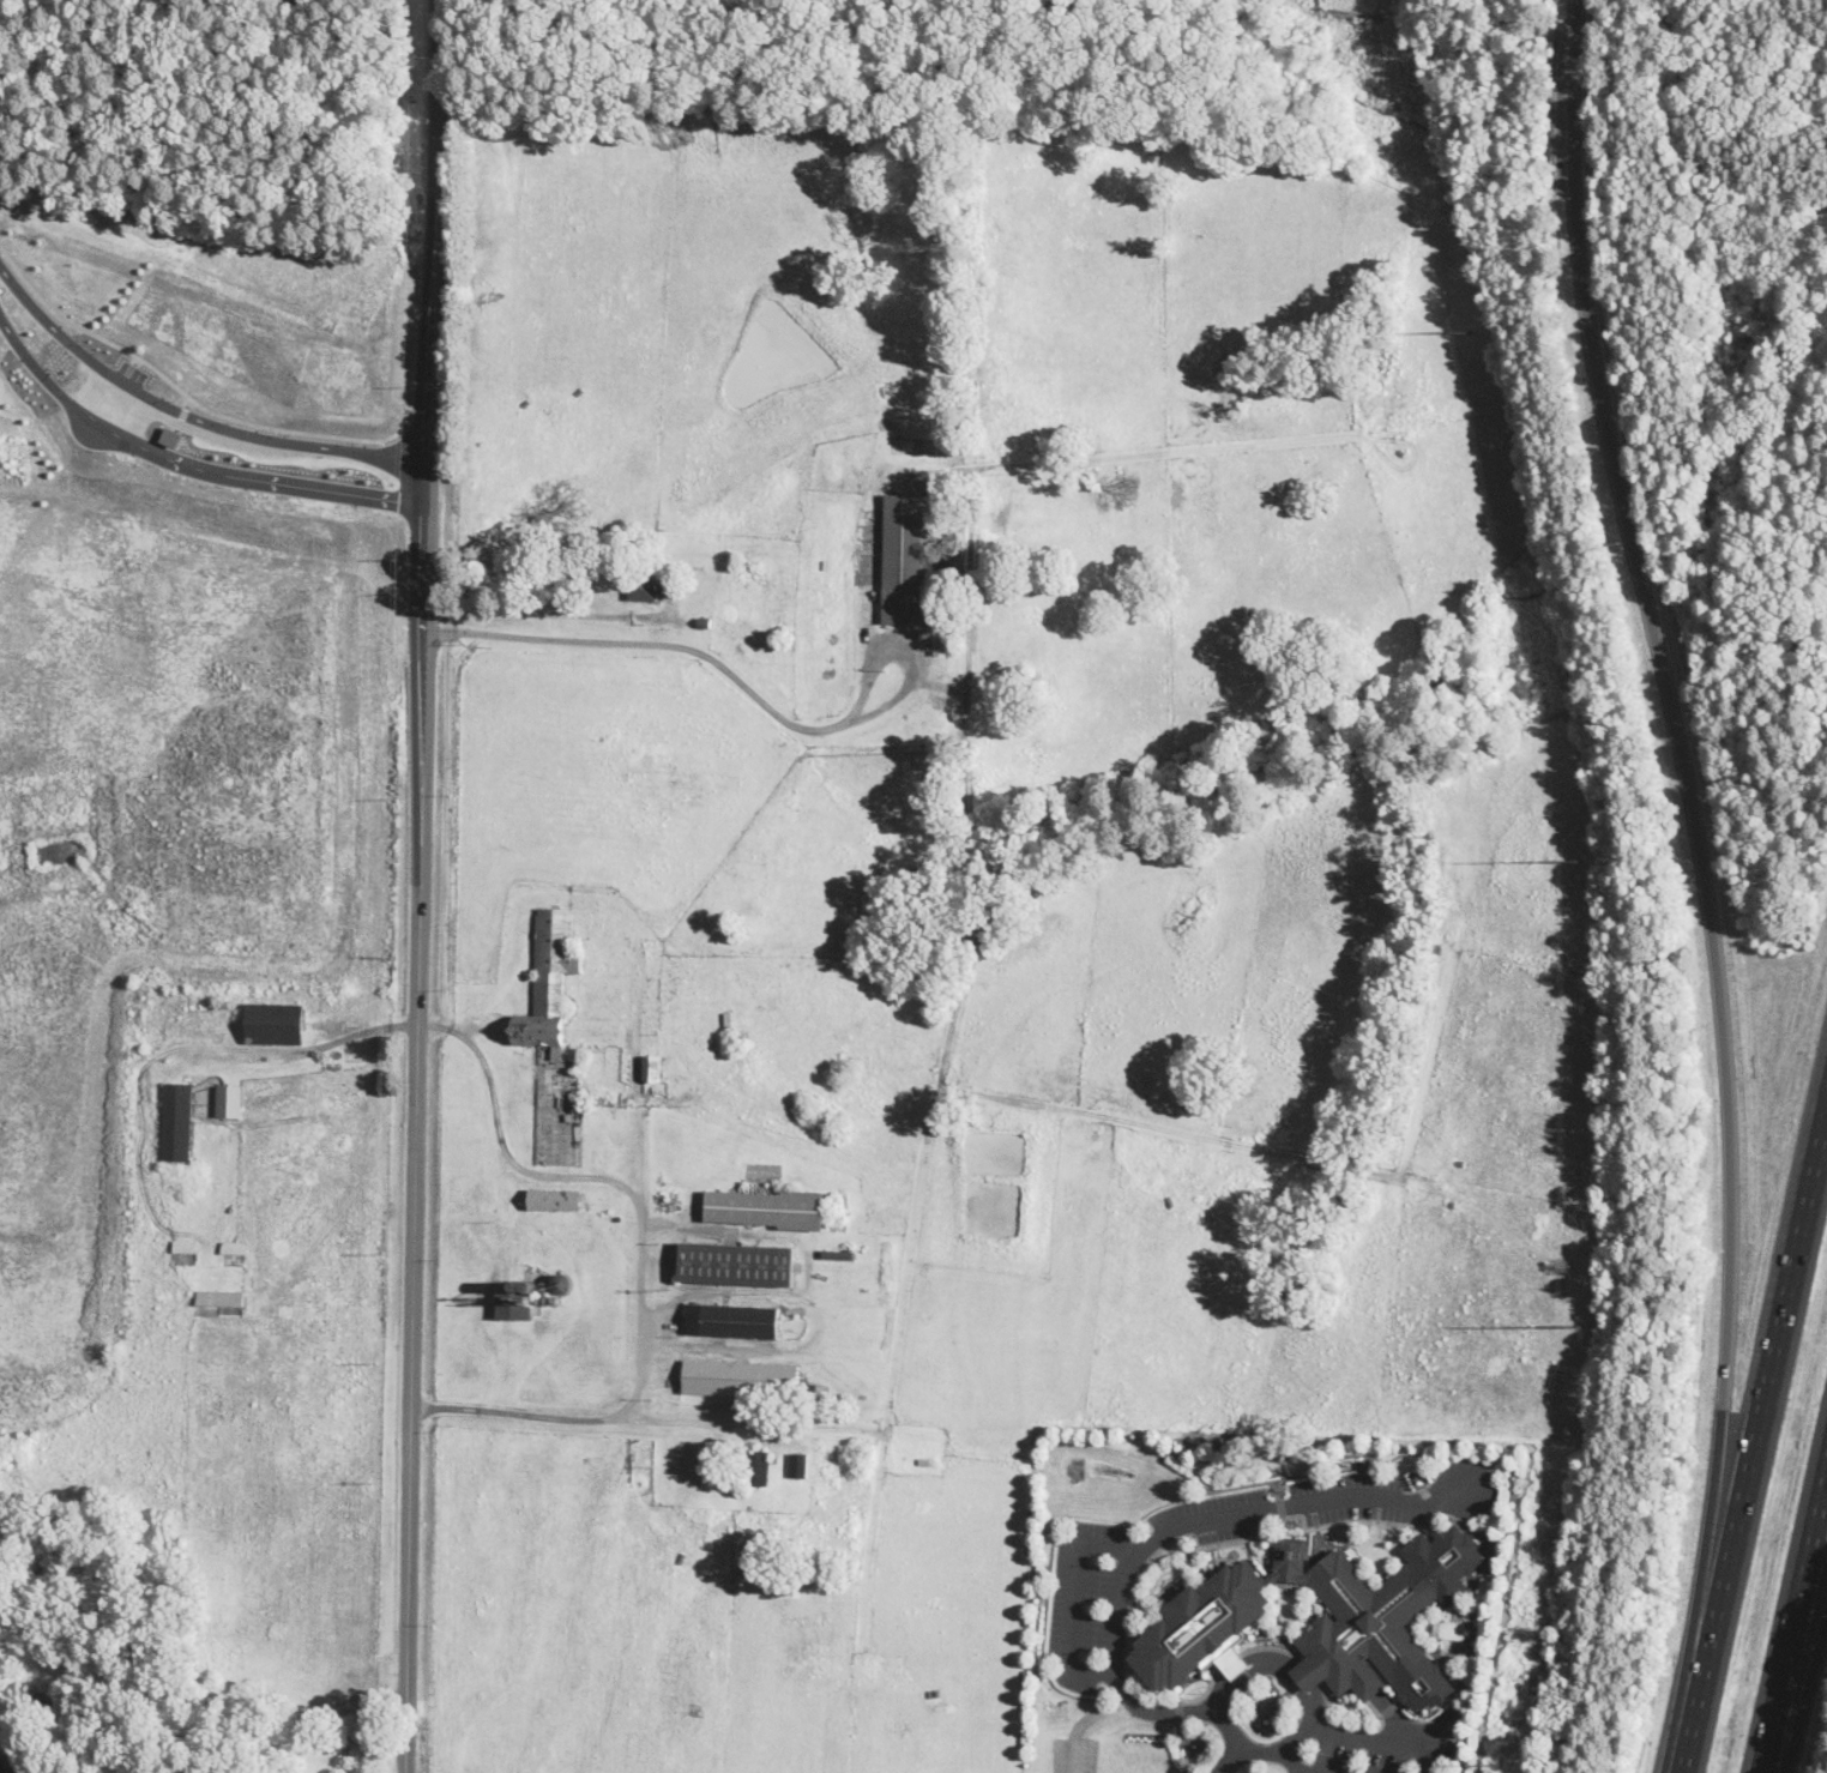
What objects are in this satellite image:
power tower: (1469, 331)
road: (187, 396)
road: (183, 440)
building: (908, 556)
building: (644, 589)
building: (929, 609)
road: (547, 611)
building: (928, 615)
building: (704, 623)
building: (925, 633)
road: (651, 644)
road: (903, 656)
building: (631, 749)
power tower: (1578, 860)
road: (1704, 882)
road: (422, 886)
building: (550, 979)
building: (222, 1005)
building: (728, 1019)
building: (275, 1024)
building: (573, 1063)
building: (651, 1067)
building: (229, 1102)
road: (492, 1116)
building: (176, 1121)
road: (637, 1135)
building: (554, 1200)
building: (1168, 1200)
building: (767, 1208)
building: (186, 1247)
building: (233, 1248)
building: (839, 1256)
building: (185, 1258)
building: (736, 1265)
building: (561, 1283)
building: (519, 1285)
building: (531, 1285)
building: (541, 1291)
road: (706, 1293)
building: (221, 1298)
building: (515, 1305)
building: (732, 1321)
power tower: (1576, 1326)
building: (741, 1379)
road: (608, 1419)
road: (833, 1428)
road: (1754, 1445)
building: (925, 1463)
building: (798, 1466)
building: (758, 1469)
road: (1170, 1527)
road: (1071, 1602)
building: (1320, 1620)
road: (1795, 1626)
road: (1801, 1688)
road: (1308, 1689)
road: (1394, 1715)
road: (1081, 1723)
road: (1434, 1725)
road: (1377, 1738)
road: (1229, 1759)
road: (1290, 1762)
power tower: (1499, 1765)
building: (4, 1766)

